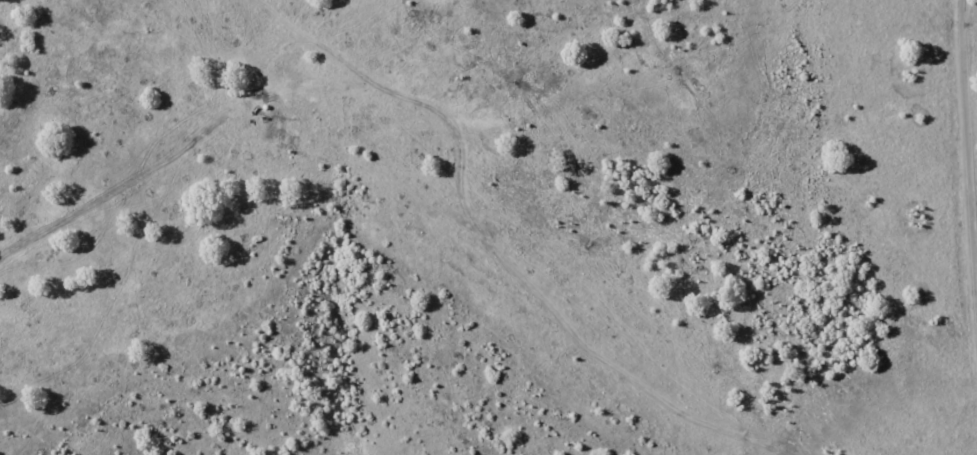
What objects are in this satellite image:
road: (971, 153)

